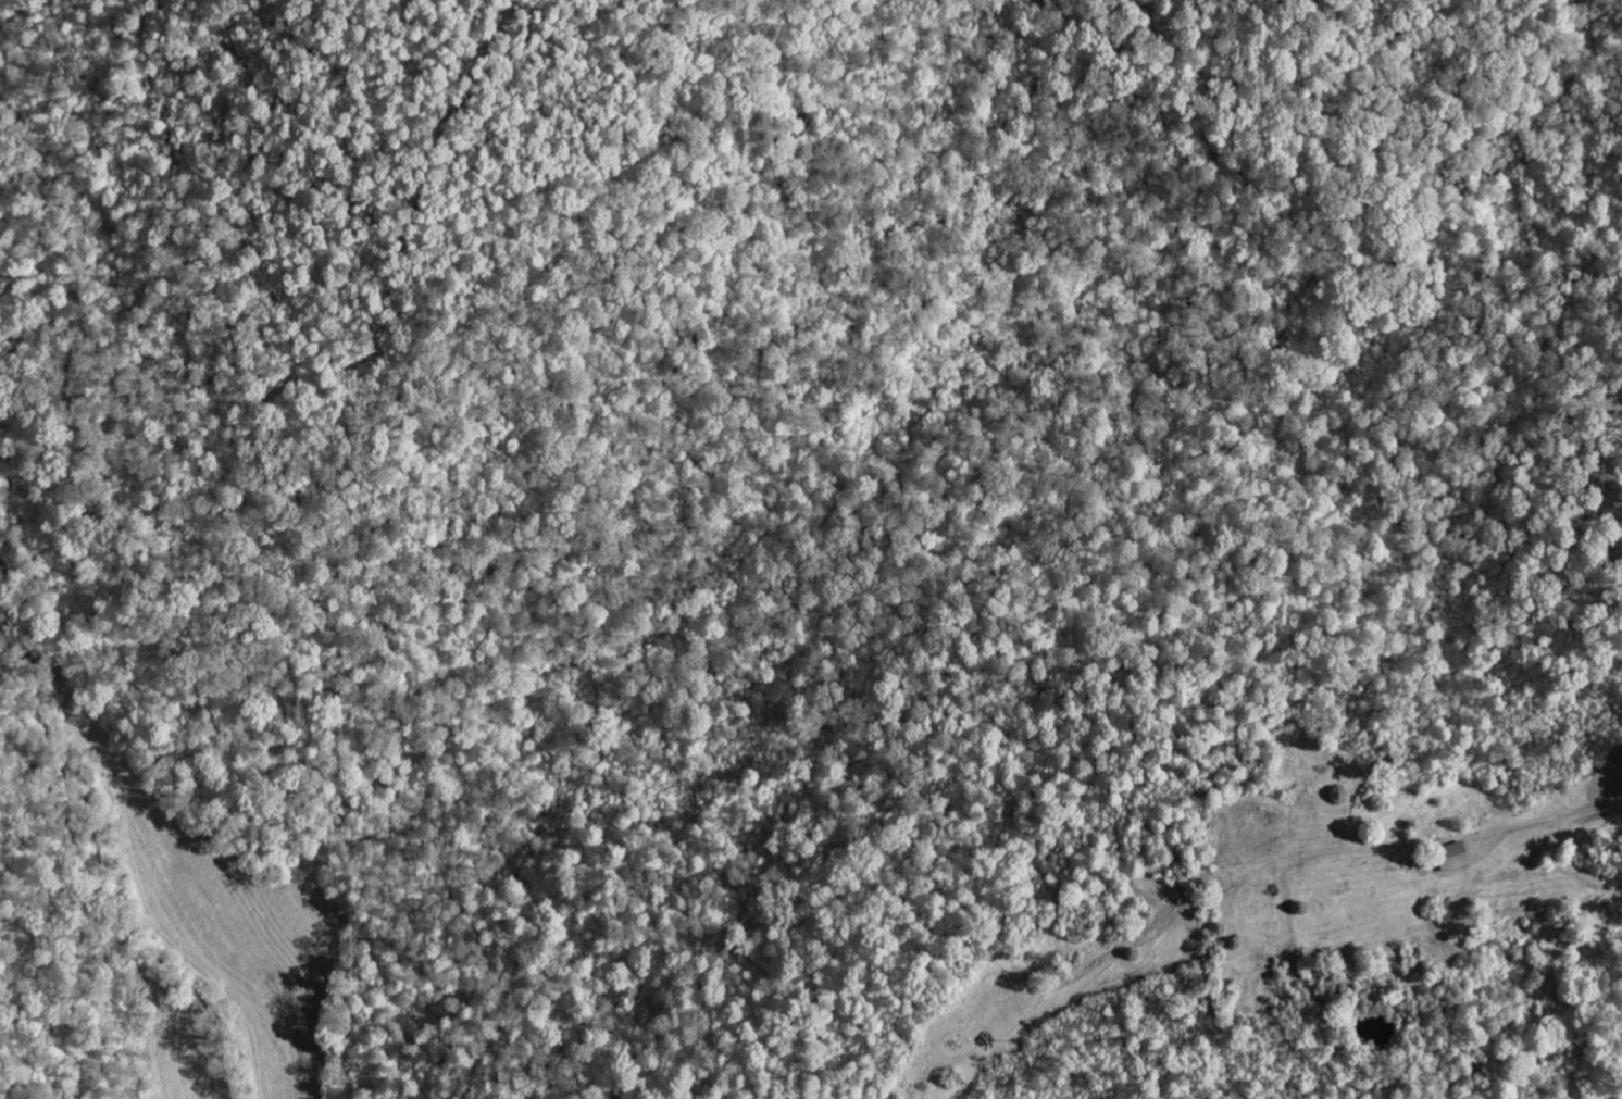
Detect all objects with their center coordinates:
building: (1456, 858)

